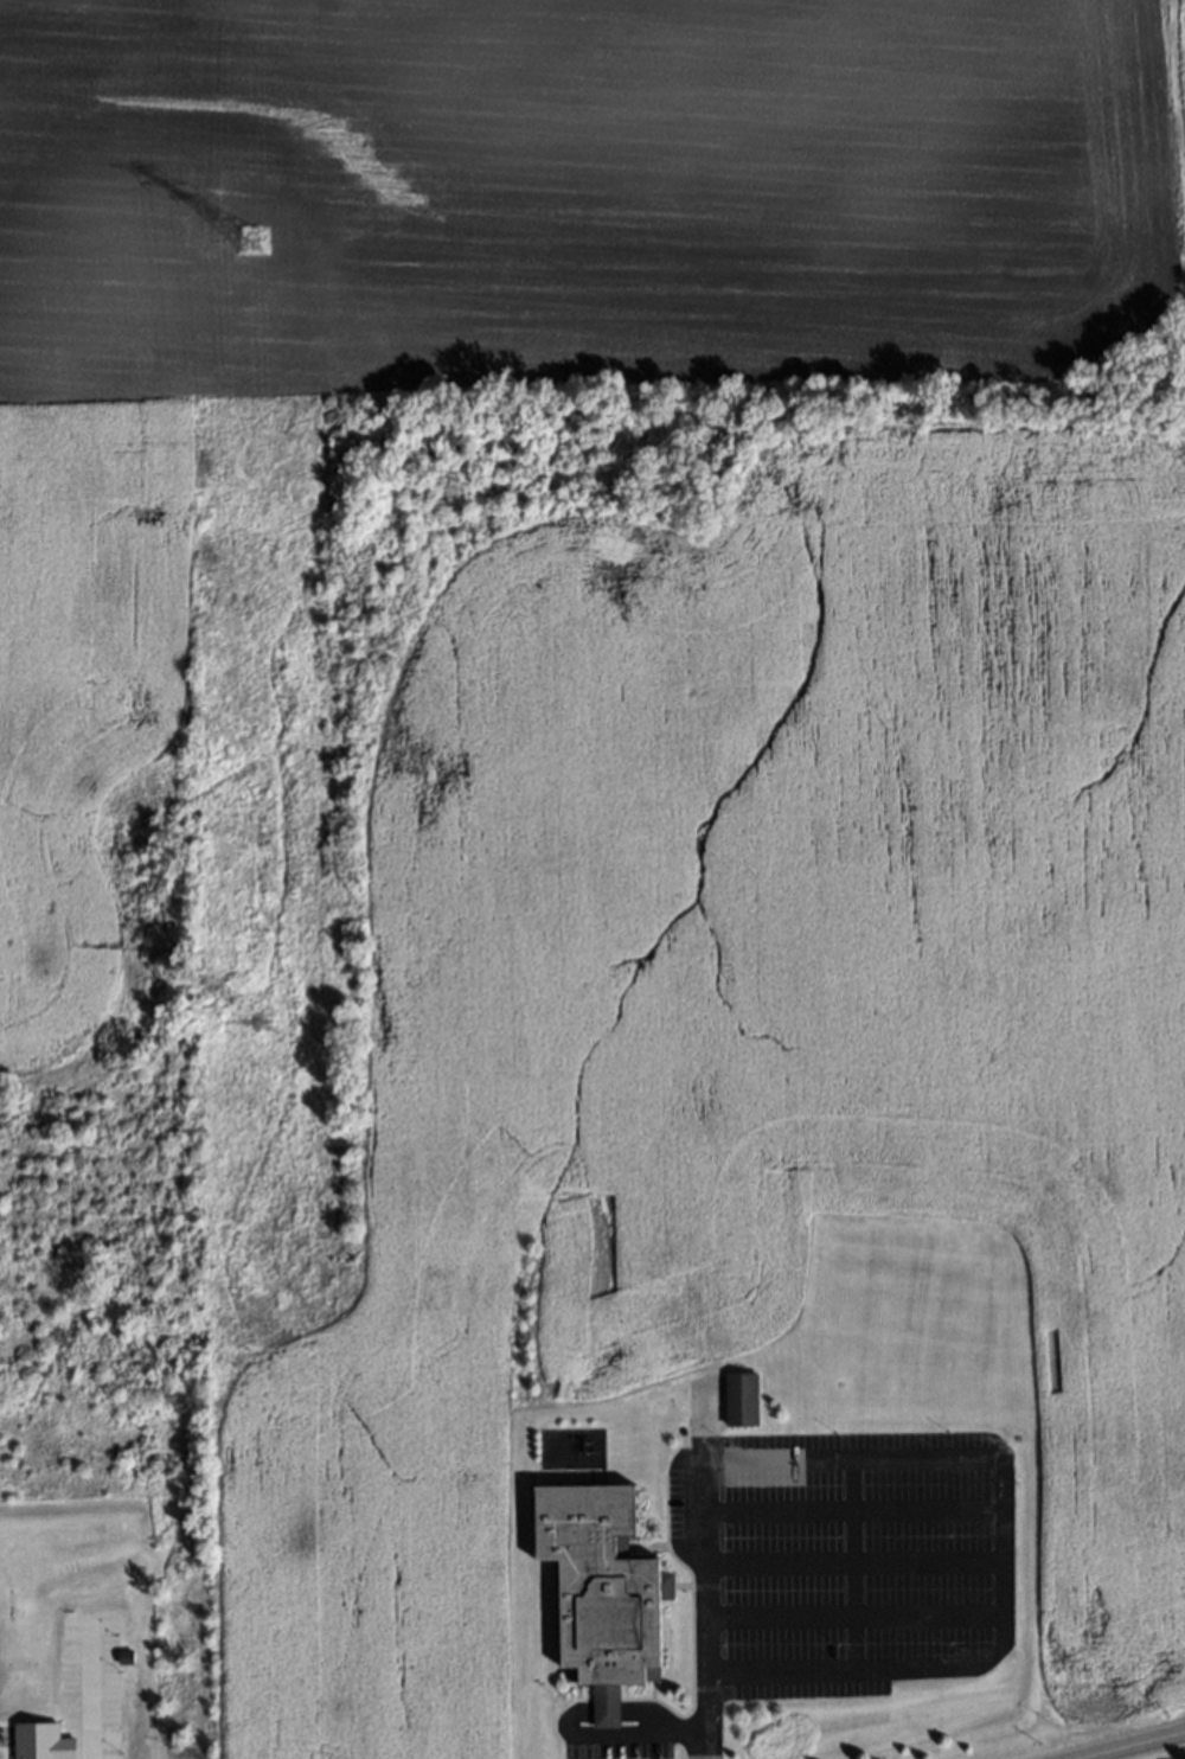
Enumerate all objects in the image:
power tower: (256, 242)
power tower: (269, 1010)
building: (737, 1395)
road: (988, 1456)
road: (846, 1509)
road: (847, 1560)
building: (598, 1590)
road: (848, 1617)
road: (603, 1709)
road: (639, 1709)
road: (700, 1715)
road: (85, 1734)
building: (33, 1738)
road: (616, 1738)
road: (1130, 1746)

